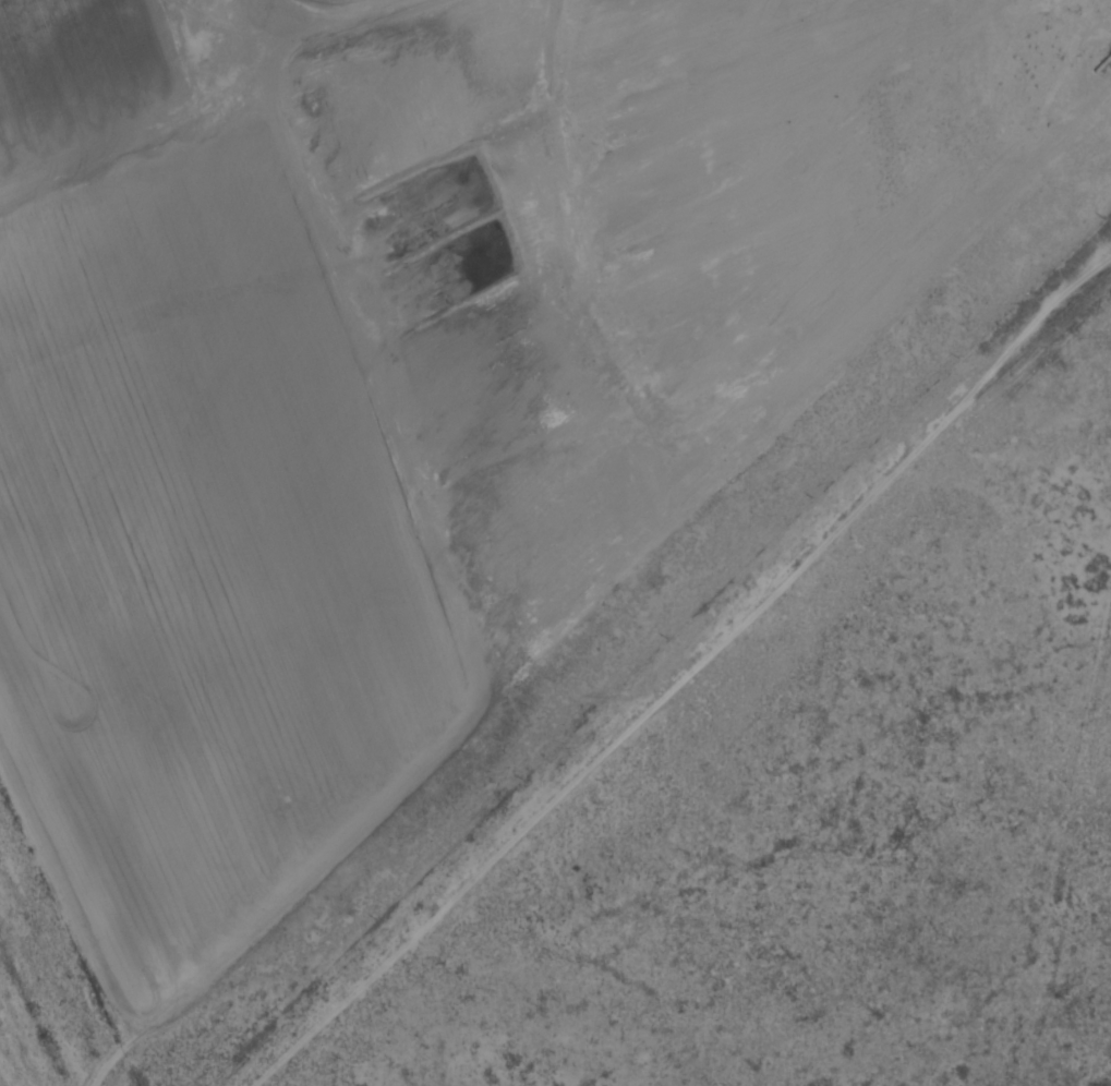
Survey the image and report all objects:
landfill: (77, 70)
landfill: (205, 548)

